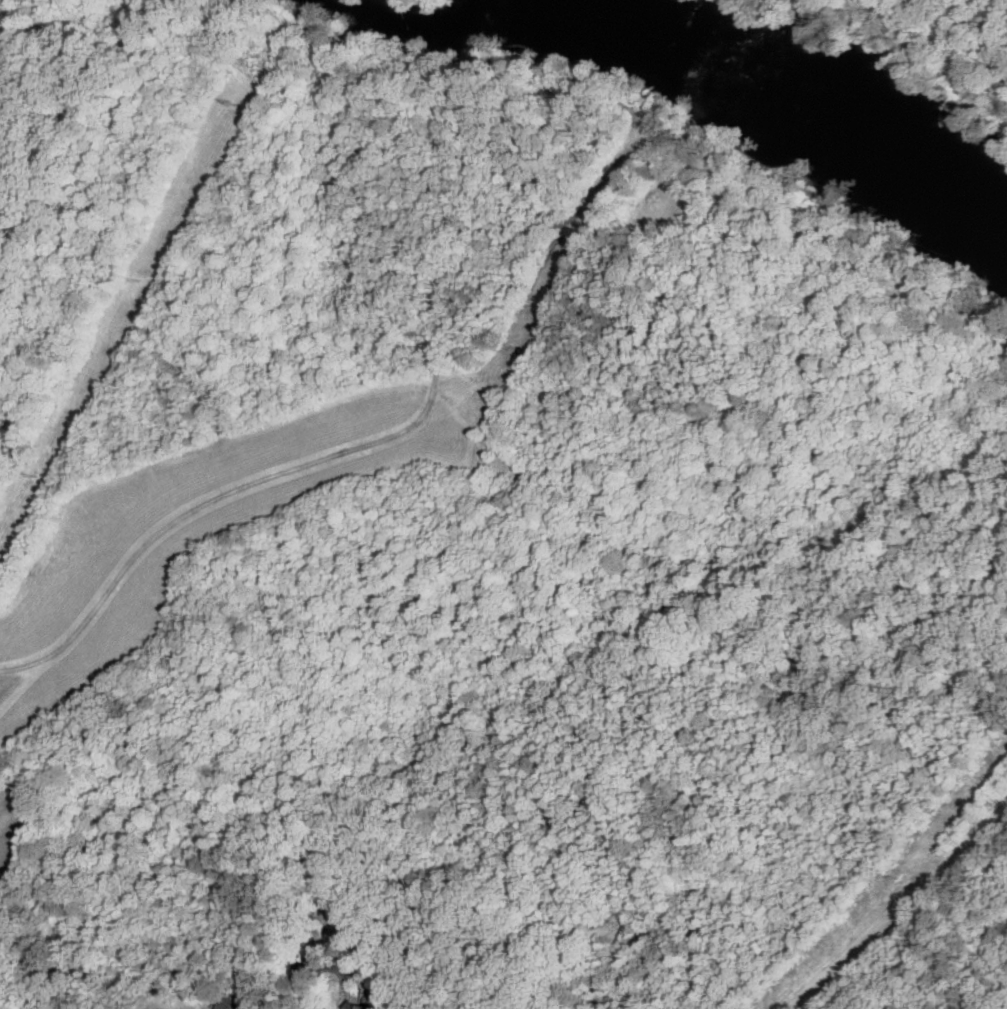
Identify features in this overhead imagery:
river: (578, 6)
park: (444, 9)
road: (916, 43)
river: (803, 99)
road: (319, 967)
building: (226, 1004)
building: (359, 1006)

